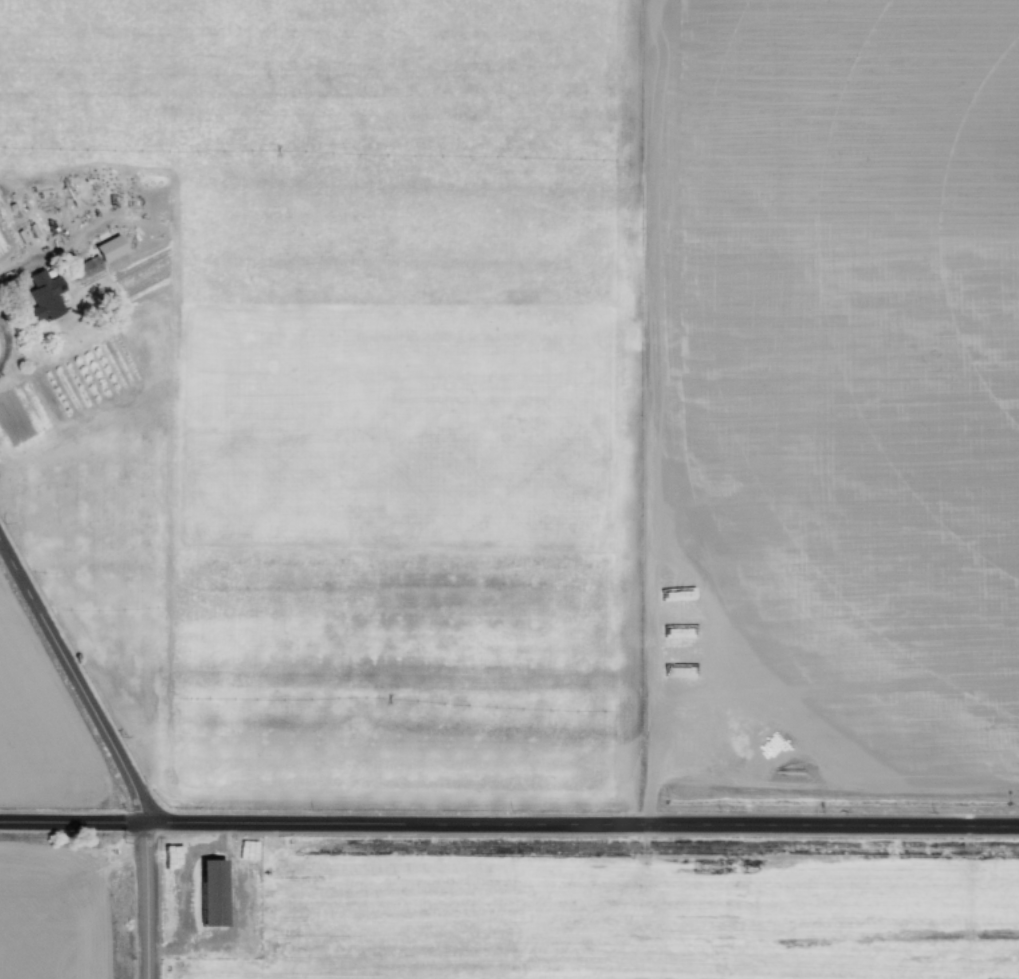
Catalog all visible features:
building: (111, 247)
building: (89, 270)
building: (46, 295)
road: (76, 682)
road: (509, 826)
building: (214, 893)
road: (140, 902)

